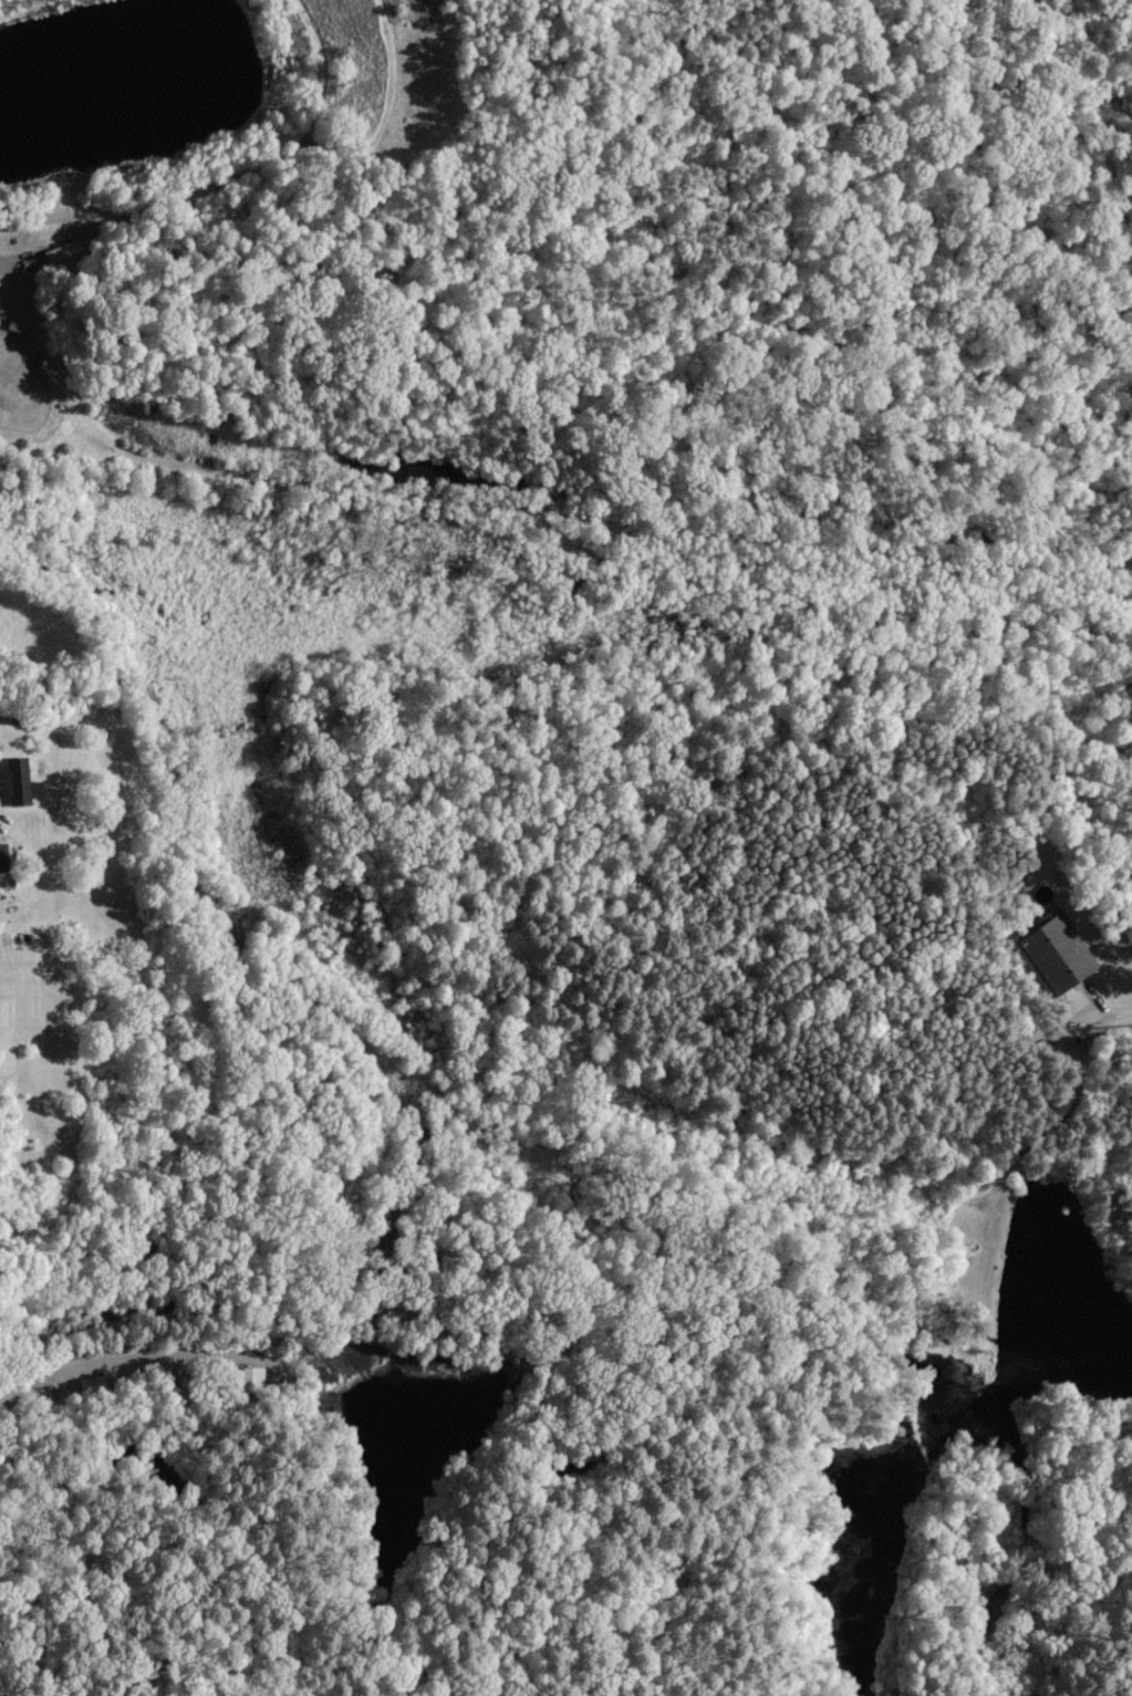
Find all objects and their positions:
building: (63, 253)
road: (7, 263)
building: (19, 781)
building: (1058, 953)
road: (1114, 1010)

